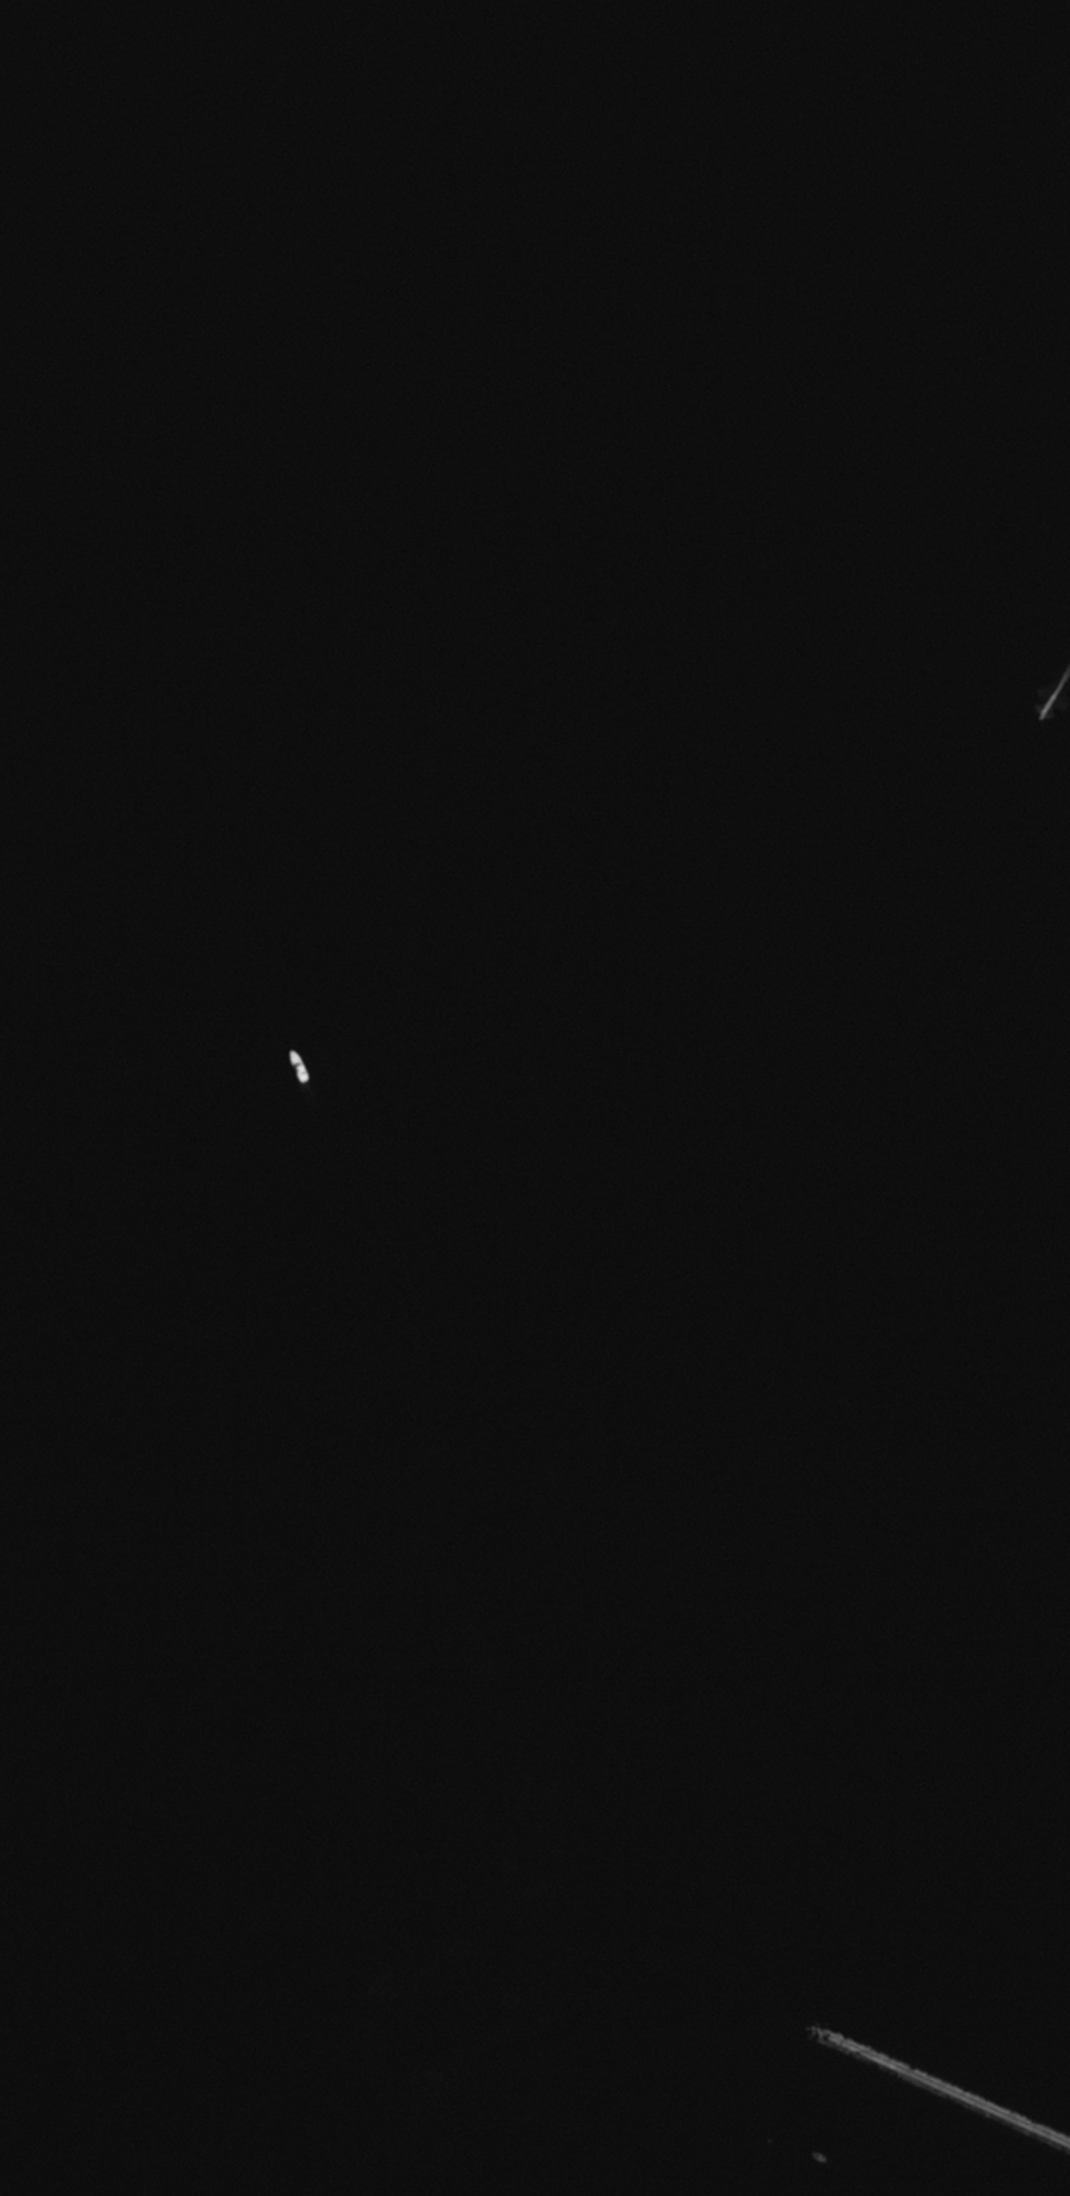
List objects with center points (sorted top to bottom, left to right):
pier: (942, 2076)
park: (943, 2076)
road: (949, 2087)

